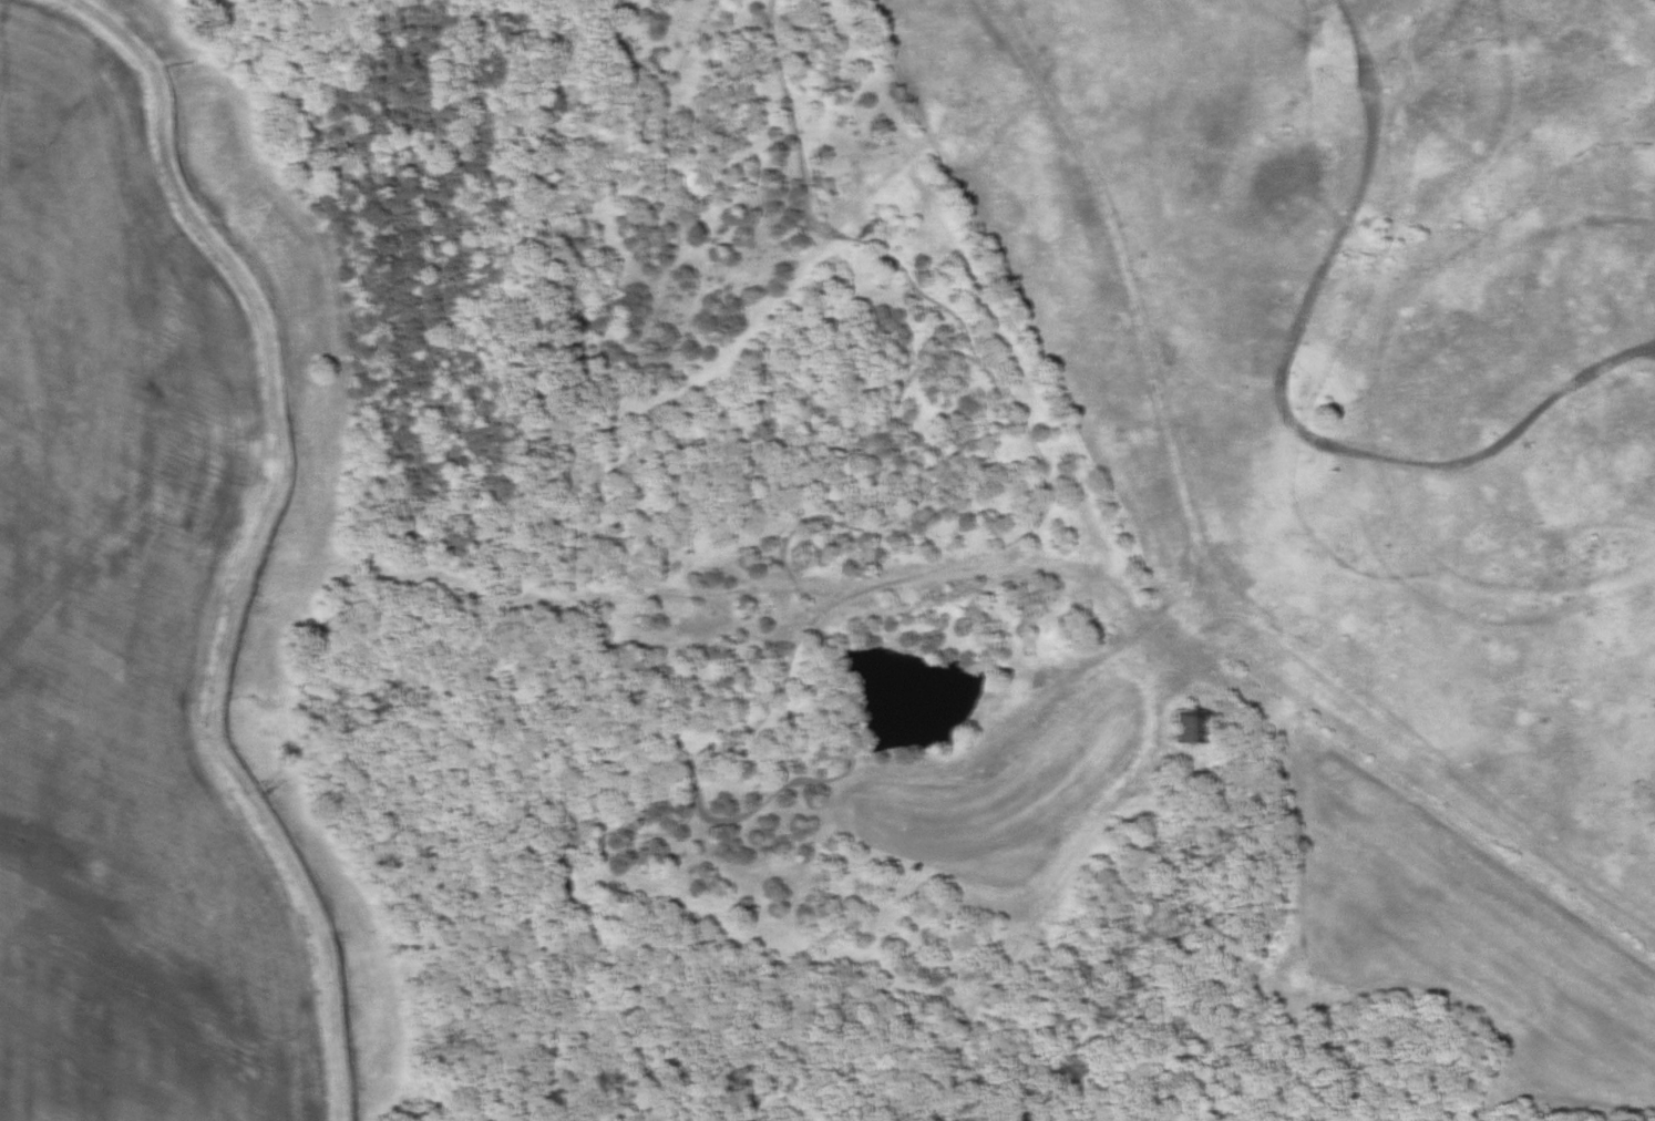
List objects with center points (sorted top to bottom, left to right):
building: (1186, 727)
road: (1510, 753)

